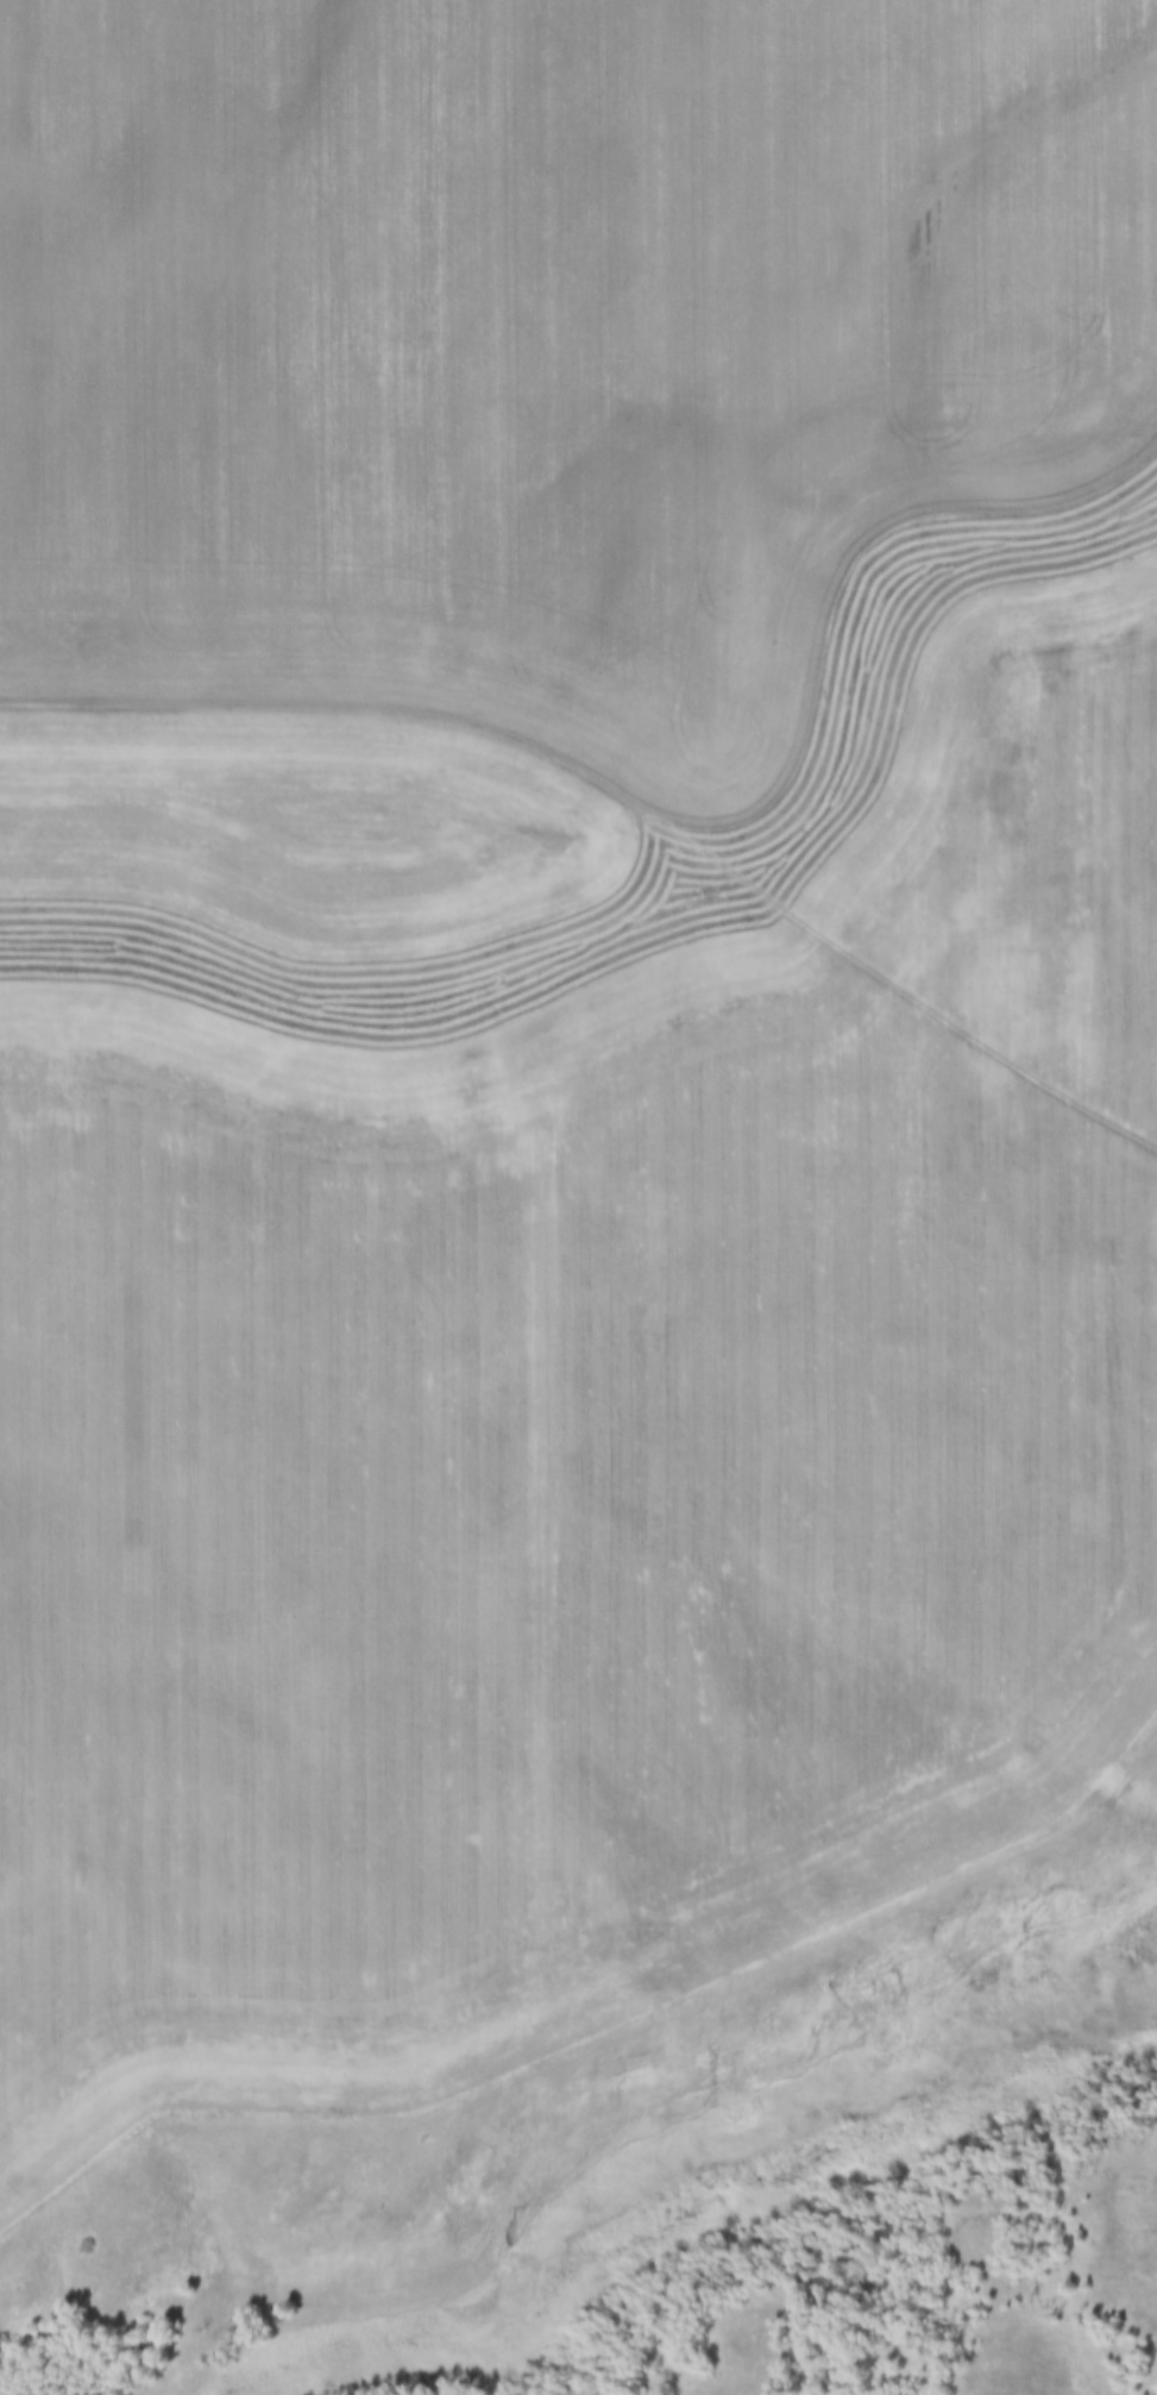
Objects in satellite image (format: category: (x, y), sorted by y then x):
road: (621, 795)

